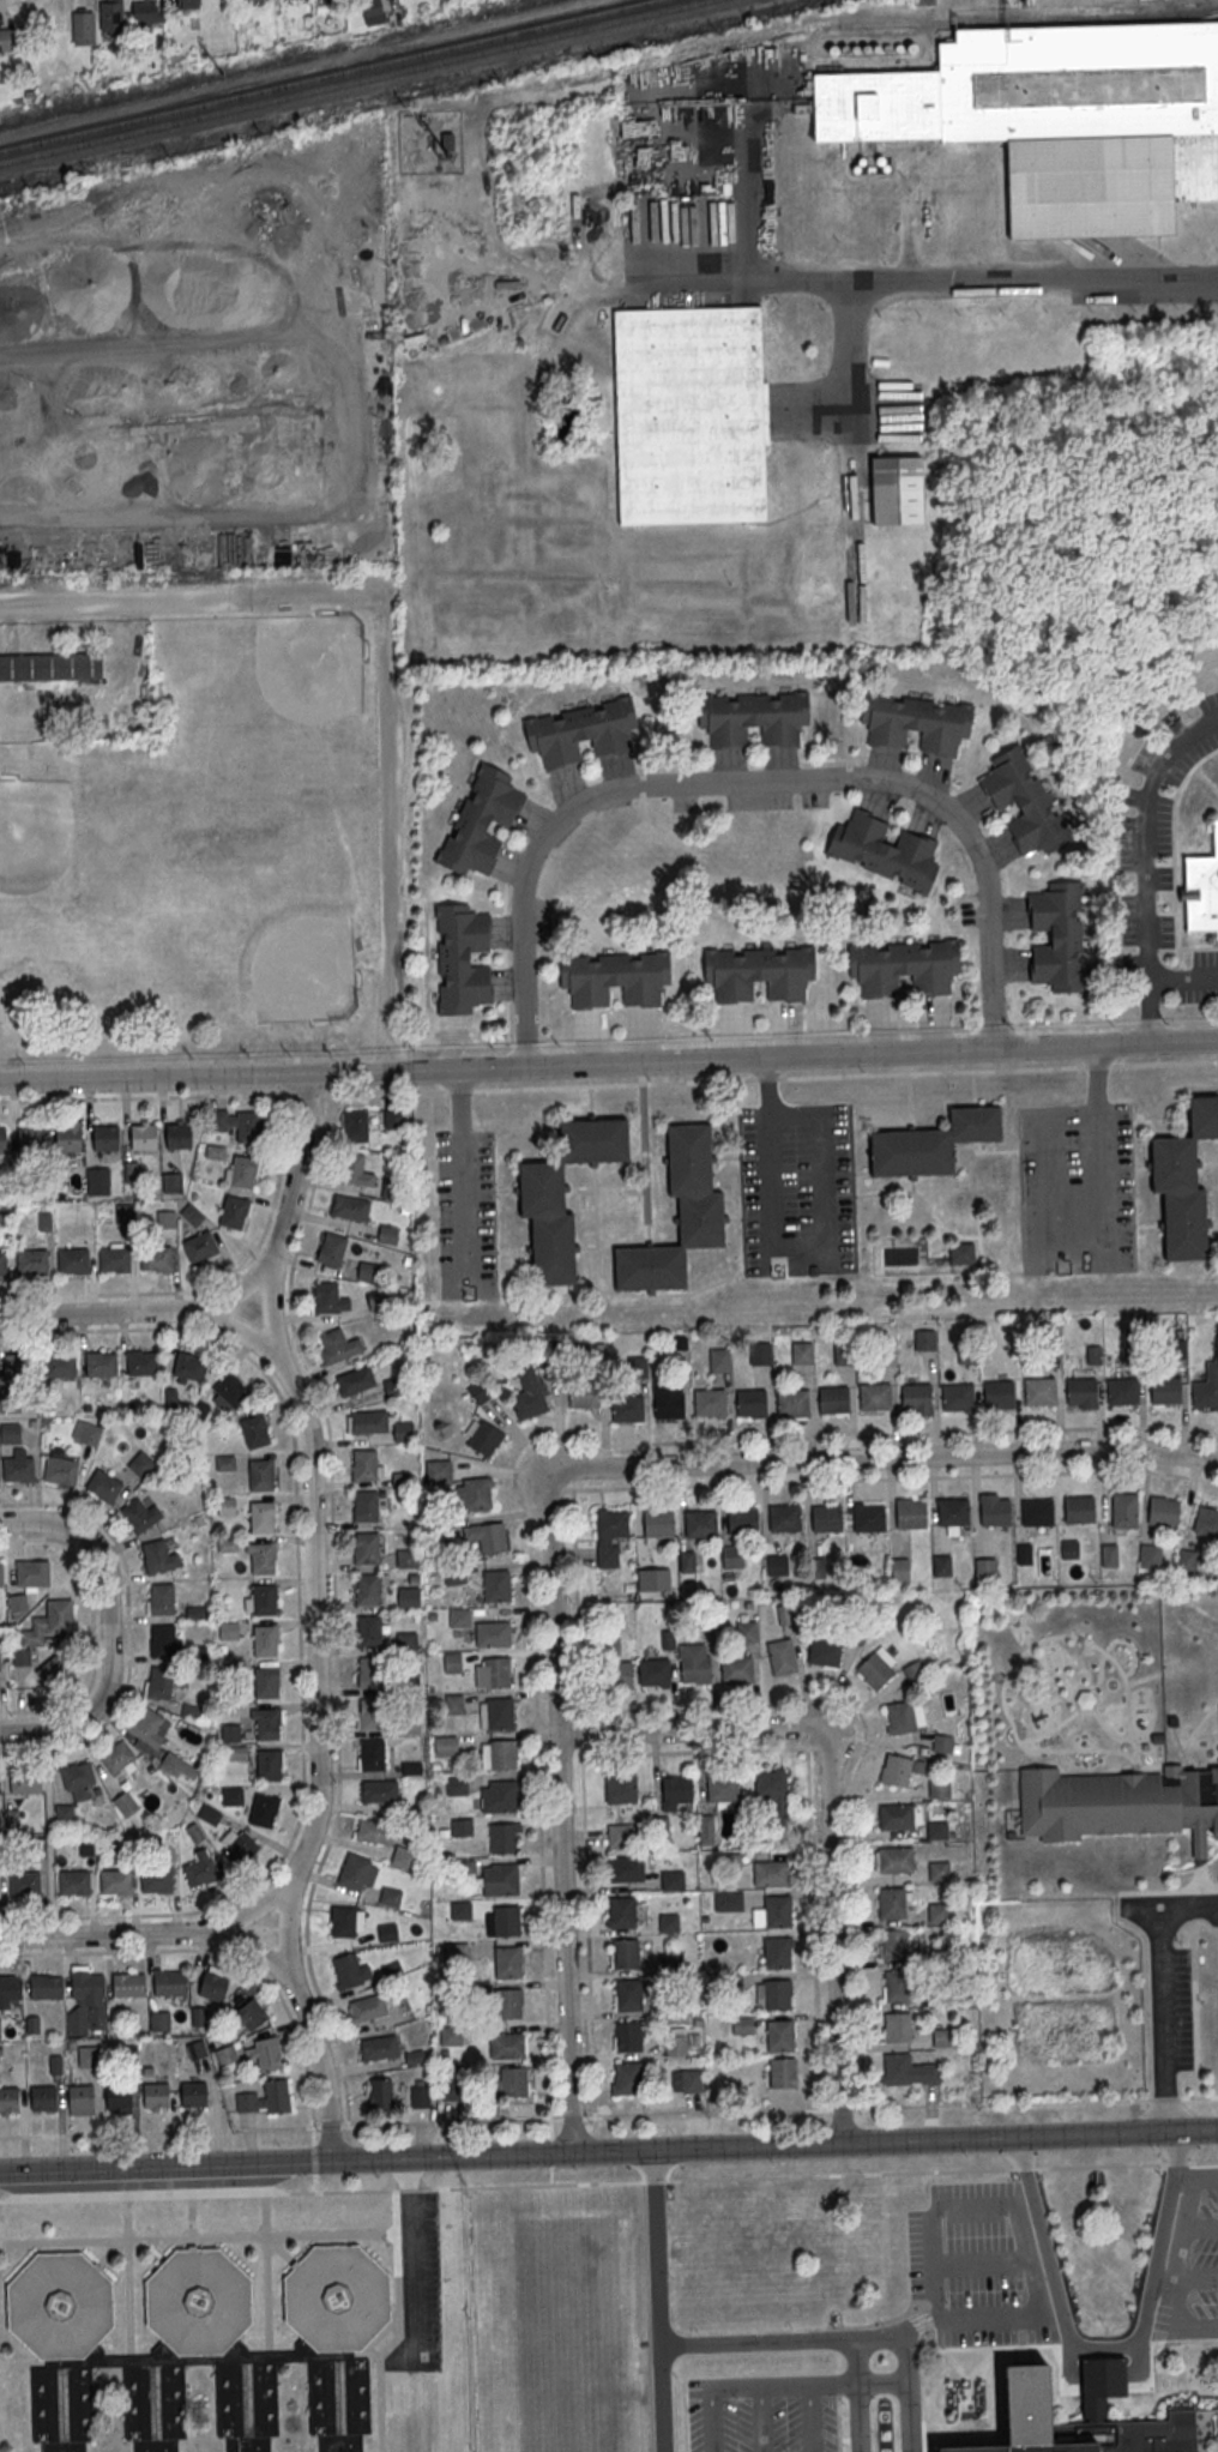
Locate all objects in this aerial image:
road: (12, 2)
building: (186, 4)
building: (370, 12)
building: (111, 16)
building: (144, 16)
building: (83, 29)
building: (8, 40)
power tower: (222, 74)
railway: (327, 74)
railway: (358, 83)
building: (1059, 120)
road: (750, 205)
road: (898, 281)
road: (848, 359)
building: (688, 416)
building: (896, 492)
road: (188, 597)
building: (50, 667)
park: (276, 704)
building: (753, 717)
building: (915, 721)
building: (581, 731)
road: (752, 775)
building: (1024, 801)
building: (481, 820)
road: (391, 831)
building: (884, 850)
park: (201, 855)
road: (1146, 860)
park: (64, 864)
building: (1201, 890)
building: (1057, 935)
park: (267, 936)
building: (462, 958)
building: (903, 965)
building: (758, 971)
building: (614, 977)
road: (1183, 982)
road: (609, 1062)
building: (392, 1119)
building: (239, 1122)
building: (354, 1125)
building: (177, 1137)
building: (104, 1138)
building: (143, 1138)
building: (67, 1139)
building: (29, 1140)
building: (2, 1141)
building: (843, 1145)
building: (930, 1145)
building: (215, 1150)
road: (299, 1156)
road: (281, 1163)
road: (318, 1169)
building: (356, 1169)
building: (131, 1170)
building: (241, 1170)
road: (465, 1173)
building: (97, 1180)
building: (171, 1181)
building: (1183, 1182)
building: (390, 1187)
building: (539, 1191)
building: (352, 1206)
building: (234, 1211)
building: (125, 1212)
parking lot: (466, 1215)
building: (169, 1217)
building: (44, 1218)
building: (700, 1223)
building: (387, 1233)
building: (200, 1247)
building: (331, 1248)
building: (961, 1252)
building: (114, 1257)
building: (156, 1258)
building: (72, 1259)
road: (794, 1259)
building: (31, 1260)
building: (2, 1261)
road: (1092, 1261)
building: (367, 1270)
road: (246, 1285)
building: (328, 1297)
road: (272, 1303)
road: (121, 1313)
building: (923, 1339)
building: (337, 1345)
building: (1177, 1349)
building: (760, 1352)
building: (801, 1352)
building: (719, 1358)
building: (141, 1361)
building: (101, 1362)
building: (14, 1363)
building: (59, 1363)
building: (637, 1366)
building: (188, 1367)
building: (355, 1379)
building: (393, 1385)
building: (228, 1391)
building: (478, 1391)
building: (1038, 1392)
building: (1080, 1392)
building: (1121, 1392)
building: (1163, 1392)
building: (168, 1394)
building: (529, 1394)
building: (997, 1394)
building: (1204, 1396)
building: (584, 1397)
building: (874, 1398)
building: (915, 1398)
building: (957, 1398)
building: (832, 1400)
building: (709, 1403)
building: (749, 1404)
building: (791, 1404)
building: (668, 1406)
building: (626, 1409)
building: (367, 1421)
building: (79, 1429)
building: (255, 1430)
building: (403, 1430)
building: (10, 1432)
building: (484, 1438)
road: (529, 1444)
road: (881, 1454)
building: (224, 1462)
building: (140, 1463)
building: (364, 1468)
building: (436, 1468)
building: (18, 1470)
building: (60, 1470)
building: (260, 1476)
road: (894, 1478)
building: (103, 1484)
building: (475, 1493)
building: (225, 1505)
building: (366, 1508)
building: (1123, 1510)
building: (1078, 1511)
building: (1163, 1511)
building: (140, 1514)
building: (952, 1514)
building: (994, 1514)
building: (1037, 1514)
building: (910, 1517)
building: (261, 1518)
building: (784, 1519)
building: (826, 1519)
building: (868, 1520)
building: (1206, 1520)
building: (741, 1522)
building: (657, 1525)
building: (611, 1526)
building: (700, 1526)
building: (487, 1536)
building: (366, 1550)
building: (1109, 1554)
building: (158, 1555)
building: (1150, 1555)
building: (731, 1556)
building: (405, 1558)
building: (261, 1560)
building: (686, 1560)
building: (1187, 1560)
building: (941, 1565)
building: (985, 1567)
building: (777, 1568)
building: (900, 1568)
building: (1, 1572)
building: (32, 1574)
building: (496, 1585)
building: (367, 1591)
building: (162, 1597)
building: (263, 1601)
building: (18, 1602)
building: (195, 1611)
building: (784, 1613)
building: (459, 1616)
road: (315, 1617)
building: (50, 1621)
road: (299, 1622)
road: (128, 1625)
road: (92, 1626)
road: (108, 1626)
building: (228, 1629)
building: (747, 1631)
building: (369, 1633)
building: (493, 1633)
building: (163, 1639)
building: (406, 1639)
building: (265, 1643)
building: (824, 1651)
building: (22, 1656)
building: (782, 1656)
building: (694, 1662)
building: (876, 1667)
building: (52, 1668)
building: (736, 1668)
building: (0, 1669)
building: (496, 1670)
building: (653, 1671)
building: (915, 1671)
building: (369, 1674)
building: (621, 1674)
building: (158, 1682)
building: (266, 1685)
building: (453, 1703)
building: (496, 1712)
building: (370, 1715)
building: (904, 1716)
building: (149, 1725)
building: (266, 1725)
road: (692, 1727)
building: (230, 1731)
building: (942, 1742)
building: (445, 1745)
road: (825, 1747)
road: (698, 1749)
building: (236, 1752)
building: (499, 1753)
building: (117, 1757)
building: (372, 1757)
building: (269, 1766)
building: (411, 1767)
building: (899, 1769)
building: (78, 1778)
building: (25, 1782)
building: (456, 1785)
building: (620, 1788)
building: (939, 1788)
building: (722, 1789)
building: (772, 1789)
building: (378, 1790)
building: (676, 1791)
building: (231, 1795)
building: (499, 1795)
building: (125, 1803)
building: (1120, 1803)
building: (264, 1809)
road: (559, 1809)
building: (64, 1814)
building: (209, 1814)
building: (894, 1815)
building: (460, 1826)
building: (706, 1829)
building: (936, 1829)
building: (373, 1830)
building: (193, 1831)
building: (621, 1835)
building: (504, 1837)
building: (85, 1844)
building: (236, 1845)
building: (402, 1856)
building: (894, 1858)
building: (627, 1867)
building: (200, 1868)
building: (937, 1869)
building: (357, 1872)
building: (770, 1873)
building: (499, 1878)
building: (673, 1879)
building: (156, 1880)
building: (73, 1881)
building: (115, 1881)
building: (24, 1882)
building: (390, 1896)
building: (728, 1899)
building: (890, 1902)
building: (460, 1909)
building: (777, 1910)
building: (621, 1911)
road: (287, 1920)
building: (345, 1920)
building: (504, 1920)
building: (668, 1922)
road: (813, 1928)
road: (586, 1930)
building: (387, 1932)
road: (858, 1932)
road: (129, 1934)
road: (836, 1934)
road: (254, 1942)
building: (890, 1944)
building: (778, 1951)
building: (625, 1952)
road: (223, 1953)
building: (507, 1960)
building: (349, 1969)
road: (1193, 1978)
building: (169, 1981)
building: (213, 1982)
building: (128, 1983)
building: (896, 1984)
building: (46, 1986)
building: (10, 1988)
road: (1162, 1990)
building: (773, 1993)
building: (627, 1994)
building: (86, 2001)
building: (509, 2002)
building: (368, 2007)
building: (251, 2013)
building: (197, 2014)
building: (159, 2020)
building: (742, 2024)
building: (897, 2026)
building: (450, 2035)
building: (627, 2035)
building: (779, 2035)
building: (942, 2037)
building: (676, 2042)
building: (507, 2044)
building: (379, 2047)
building: (265, 2053)
building: (225, 2054)
building: (88, 2055)
building: (415, 2055)
road: (319, 2058)
building: (55, 2064)
building: (906, 2070)
building: (782, 2072)
building: (625, 2078)
building: (686, 2080)
building: (511, 2082)
building: (447, 2087)
building: (379, 2092)
building: (193, 2093)
building: (156, 2095)
building: (117, 2096)
building: (420, 2096)
road: (1199, 2096)
building: (43, 2097)
building: (80, 2097)
building: (267, 2097)
road: (1165, 2097)
building: (8, 2098)
road: (1001, 2102)
road: (302, 2104)
road: (839, 2108)
road: (584, 2116)
road: (328, 2125)
road: (157, 2129)
road: (550, 2141)
road: (608, 2147)
road: (314, 2158)
road: (1207, 2177)
road: (1184, 2179)
road: (314, 2182)
road: (609, 2182)
road: (928, 2209)
road: (191, 2222)
road: (1204, 2223)
road: (198, 2236)
road: (346, 2239)
road: (109, 2251)
road: (153, 2251)
road: (281, 2251)
road: (988, 2255)
parking lot: (1204, 2258)
road: (409, 2259)
parking lot: (978, 2263)
road: (265, 2272)
road: (1181, 2272)
road: (1199, 2275)
road: (126, 2277)
parking lot: (427, 2282)
road: (658, 2299)
road: (472, 2319)
road: (396, 2323)
road: (255, 2332)
road: (862, 2338)
building: (200, 2346)
road: (1104, 2346)
road: (23, 2363)
road: (810, 2380)
road: (908, 2391)
road: (391, 2393)
road: (858, 2396)
building: (1026, 2402)
road: (807, 2416)
road: (710, 2417)
road: (762, 2417)
parking lot: (761, 2422)

